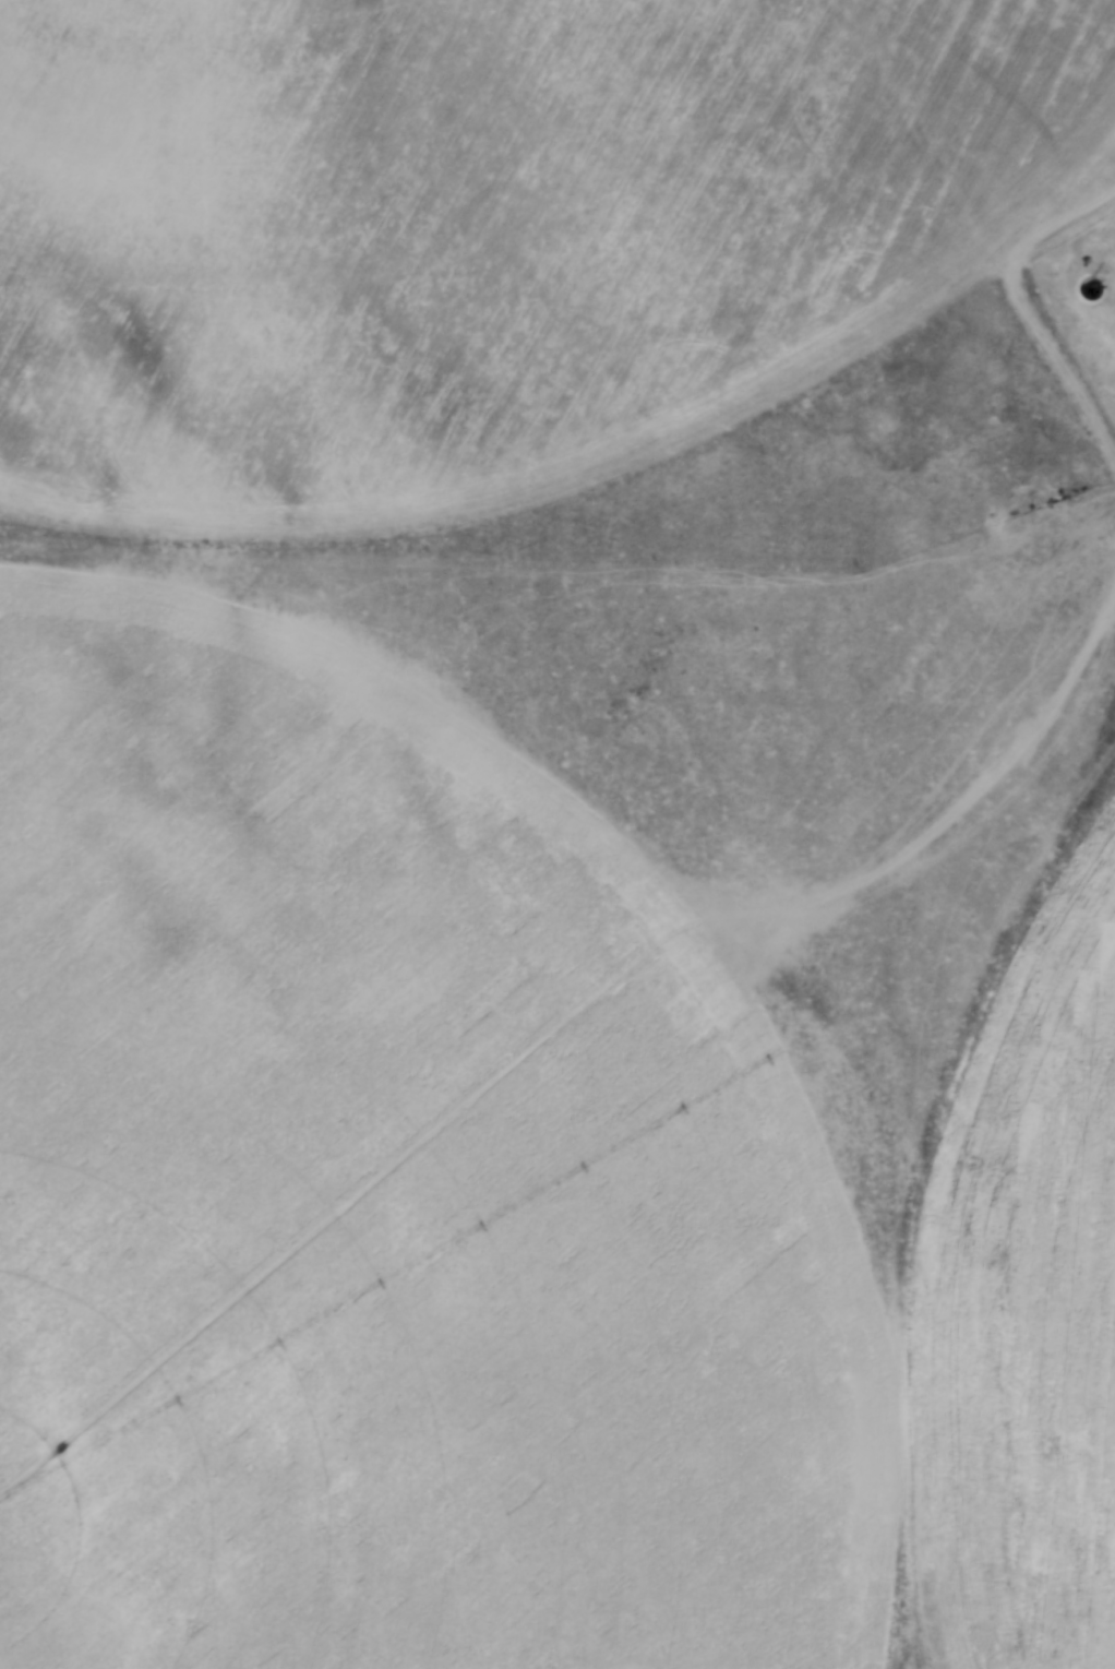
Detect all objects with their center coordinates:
crop: (473, 230)
crop: (487, 1212)

